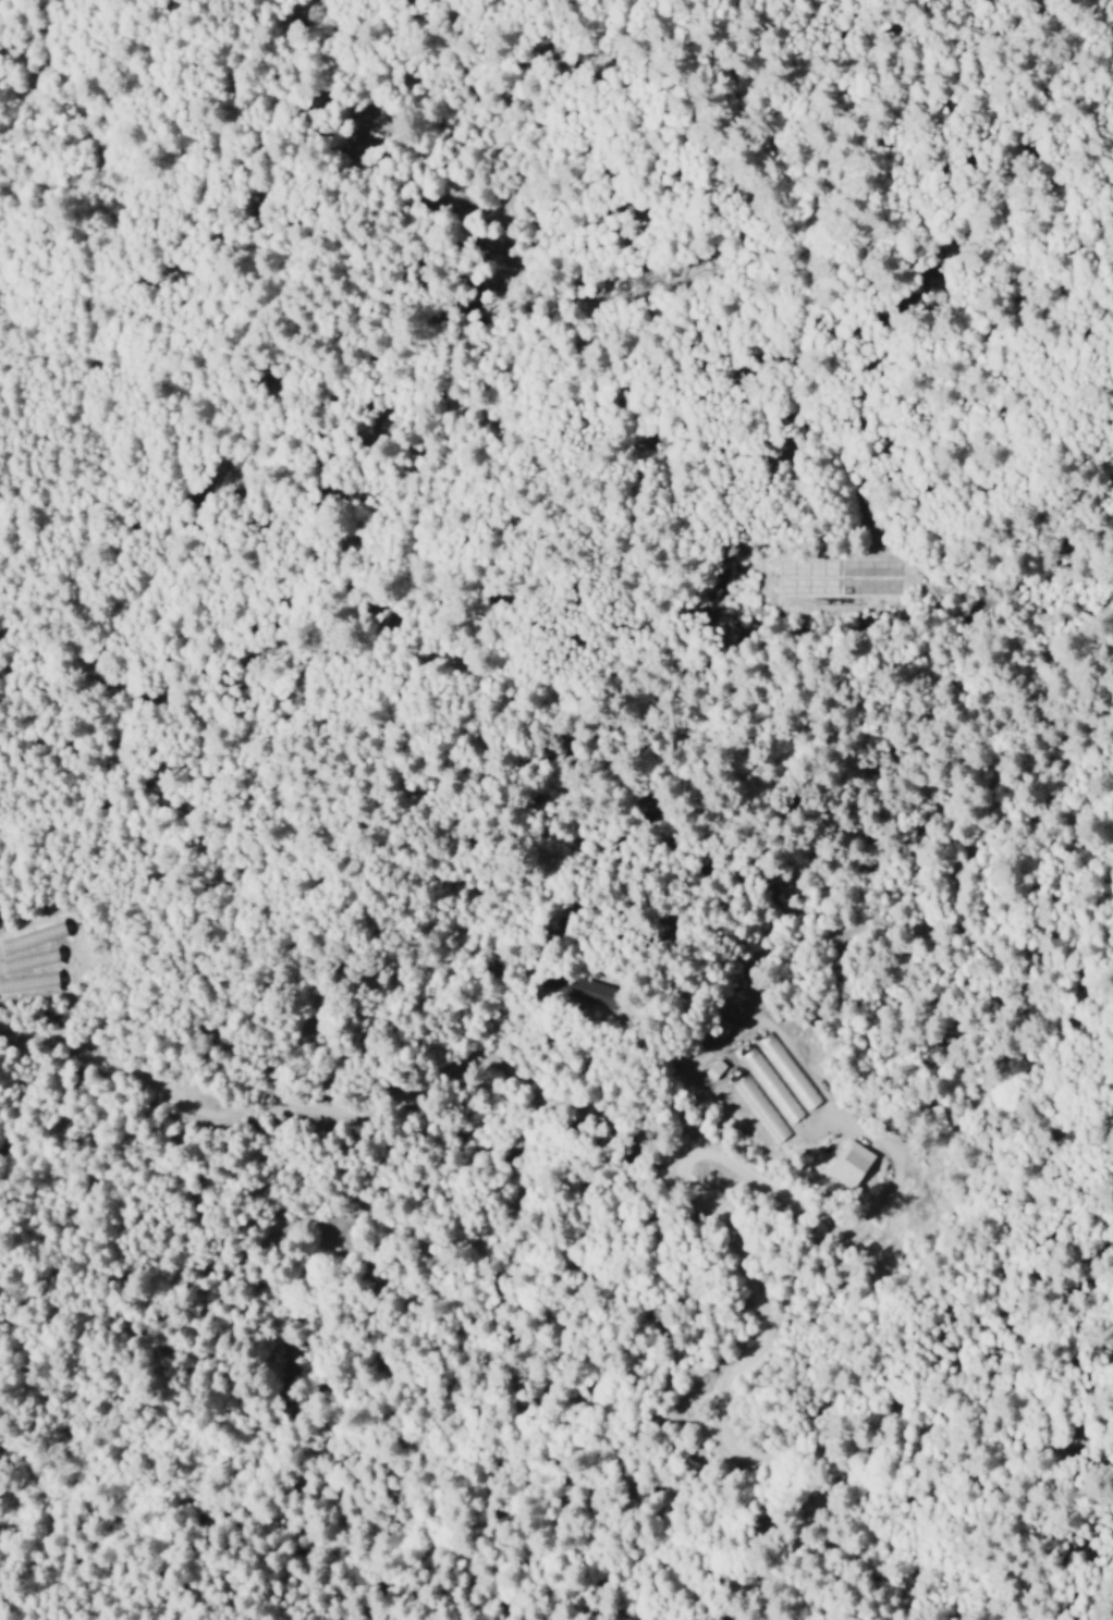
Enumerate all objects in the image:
building: (718, 1069)
building: (761, 1110)
building: (851, 1166)

